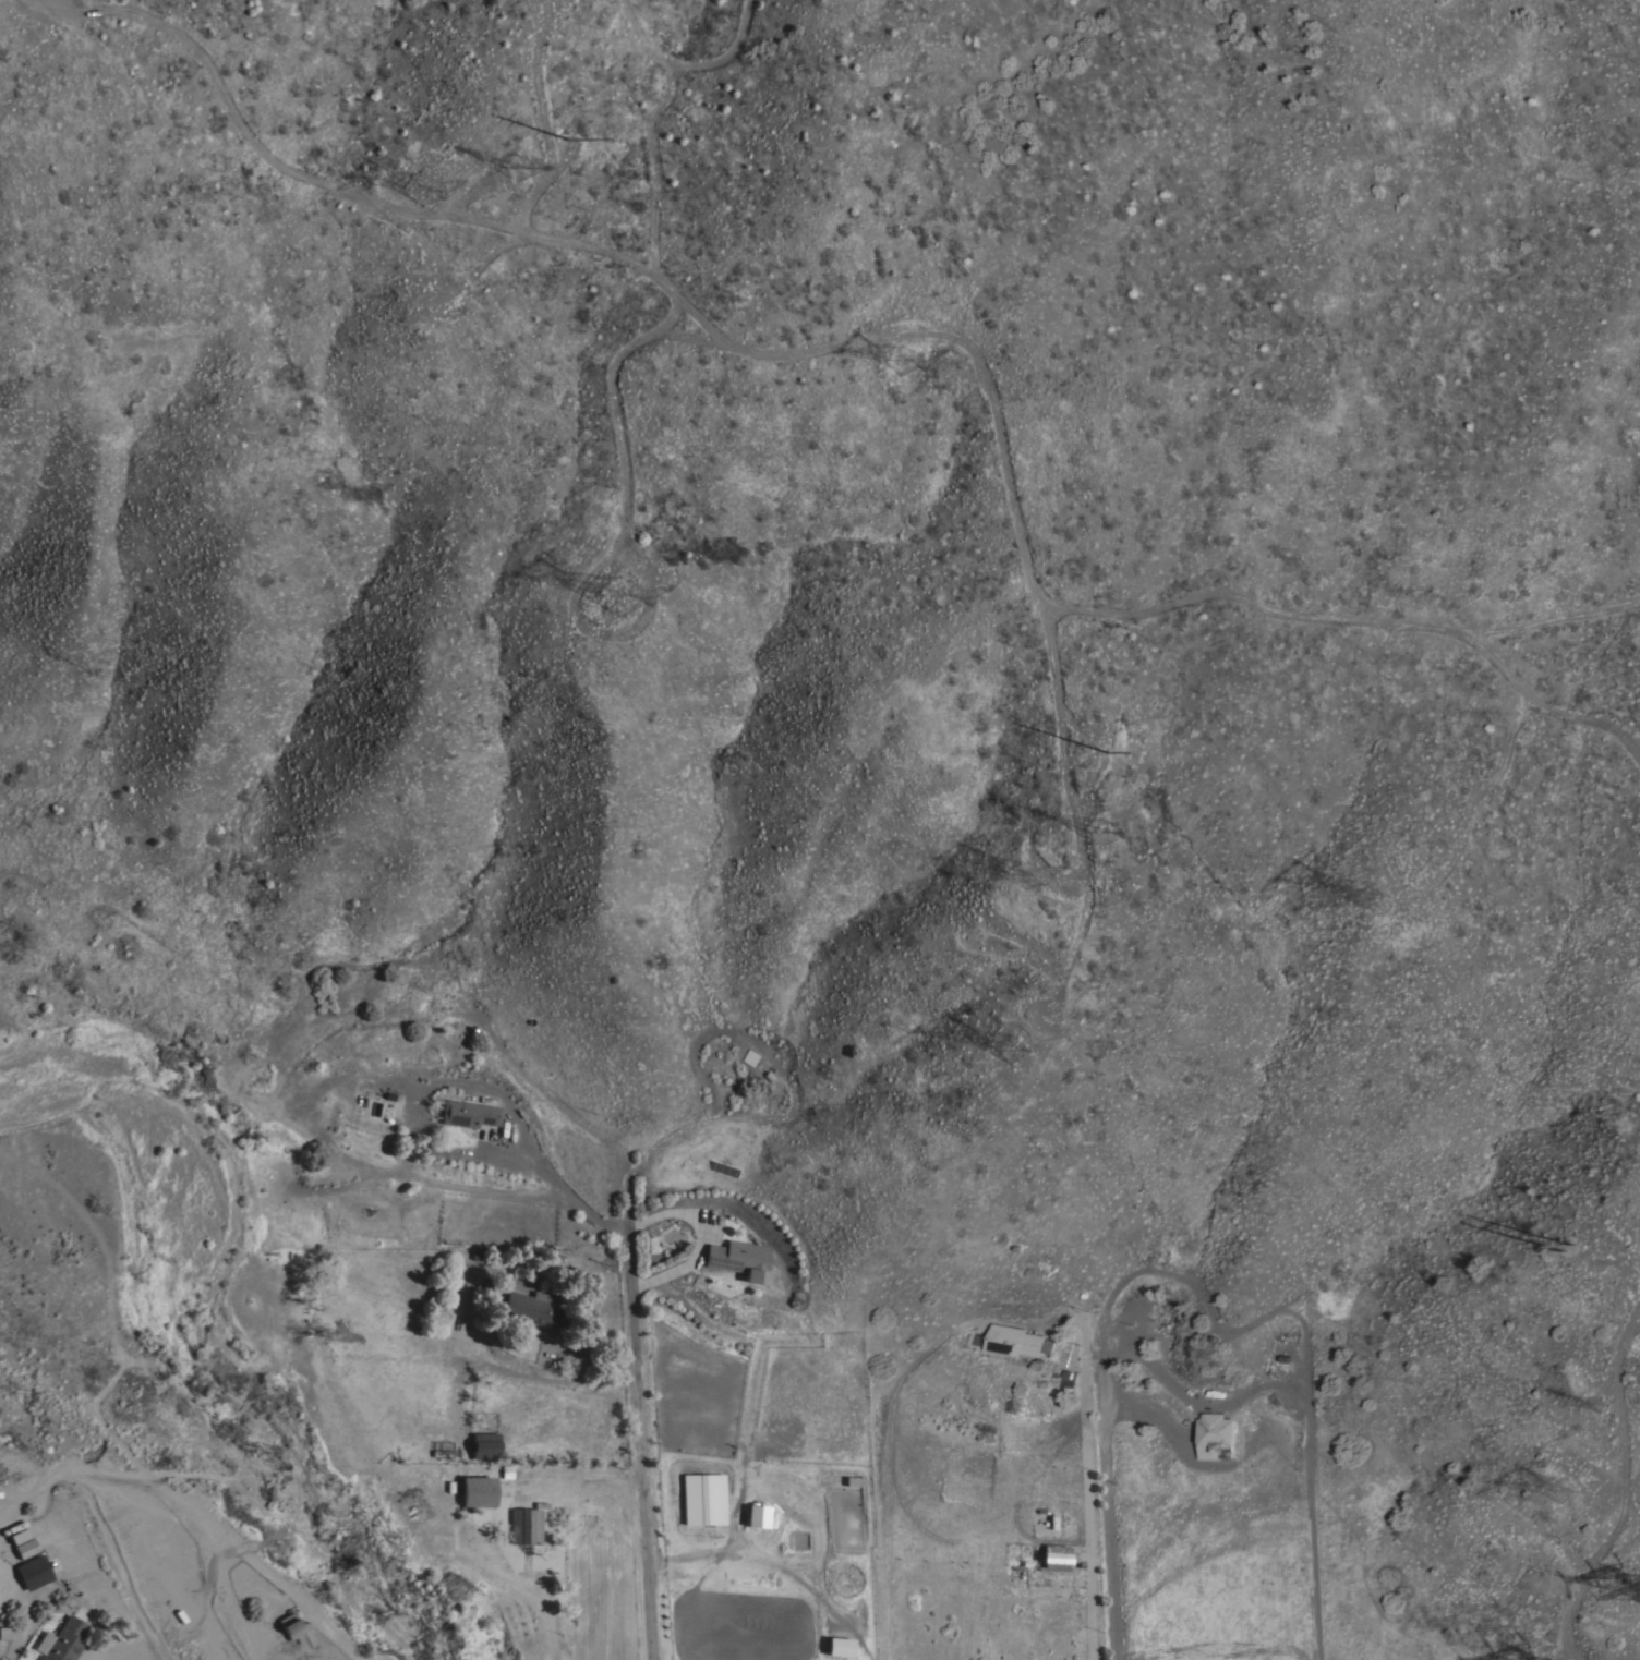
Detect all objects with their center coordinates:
power tower: (569, 141)
power tower: (511, 161)
power tower: (423, 195)
power tower: (897, 362)
road: (827, 427)
power tower: (628, 601)
road: (1552, 616)
road: (1545, 712)
power tower: (1108, 750)
power tower: (1101, 829)
power tower: (1024, 877)
power tower: (1374, 889)
building: (749, 1056)
power tower: (1027, 1058)
building: (468, 1113)
road: (541, 1173)
power tower: (1572, 1243)
building: (739, 1259)
building: (531, 1307)
building: (1018, 1342)
building: (1070, 1355)
power tower: (1601, 1402)
building: (1217, 1437)
road: (636, 1439)
building: (484, 1445)
road: (1626, 1486)
building: (477, 1490)
power tower: (1571, 1495)
building: (703, 1499)
road: (1108, 1502)
road: (1089, 1506)
building: (756, 1516)
building: (524, 1525)
building: (16, 1535)
building: (24, 1548)
building: (1053, 1556)
building: (32, 1572)
road: (538, 1608)
building: (289, 1624)
building: (3, 1632)
building: (60, 1640)
building: (839, 1647)
road: (93, 1659)

